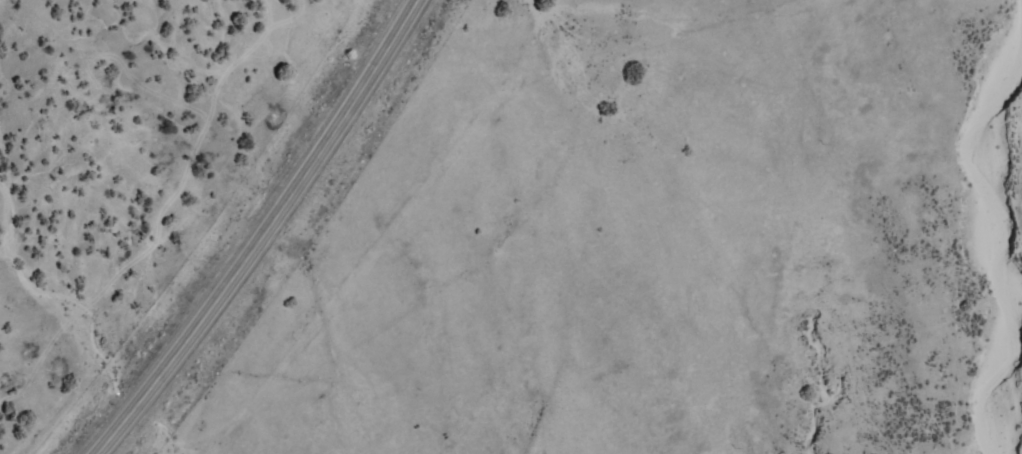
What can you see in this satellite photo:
road: (1016, 90)
road: (256, 229)

